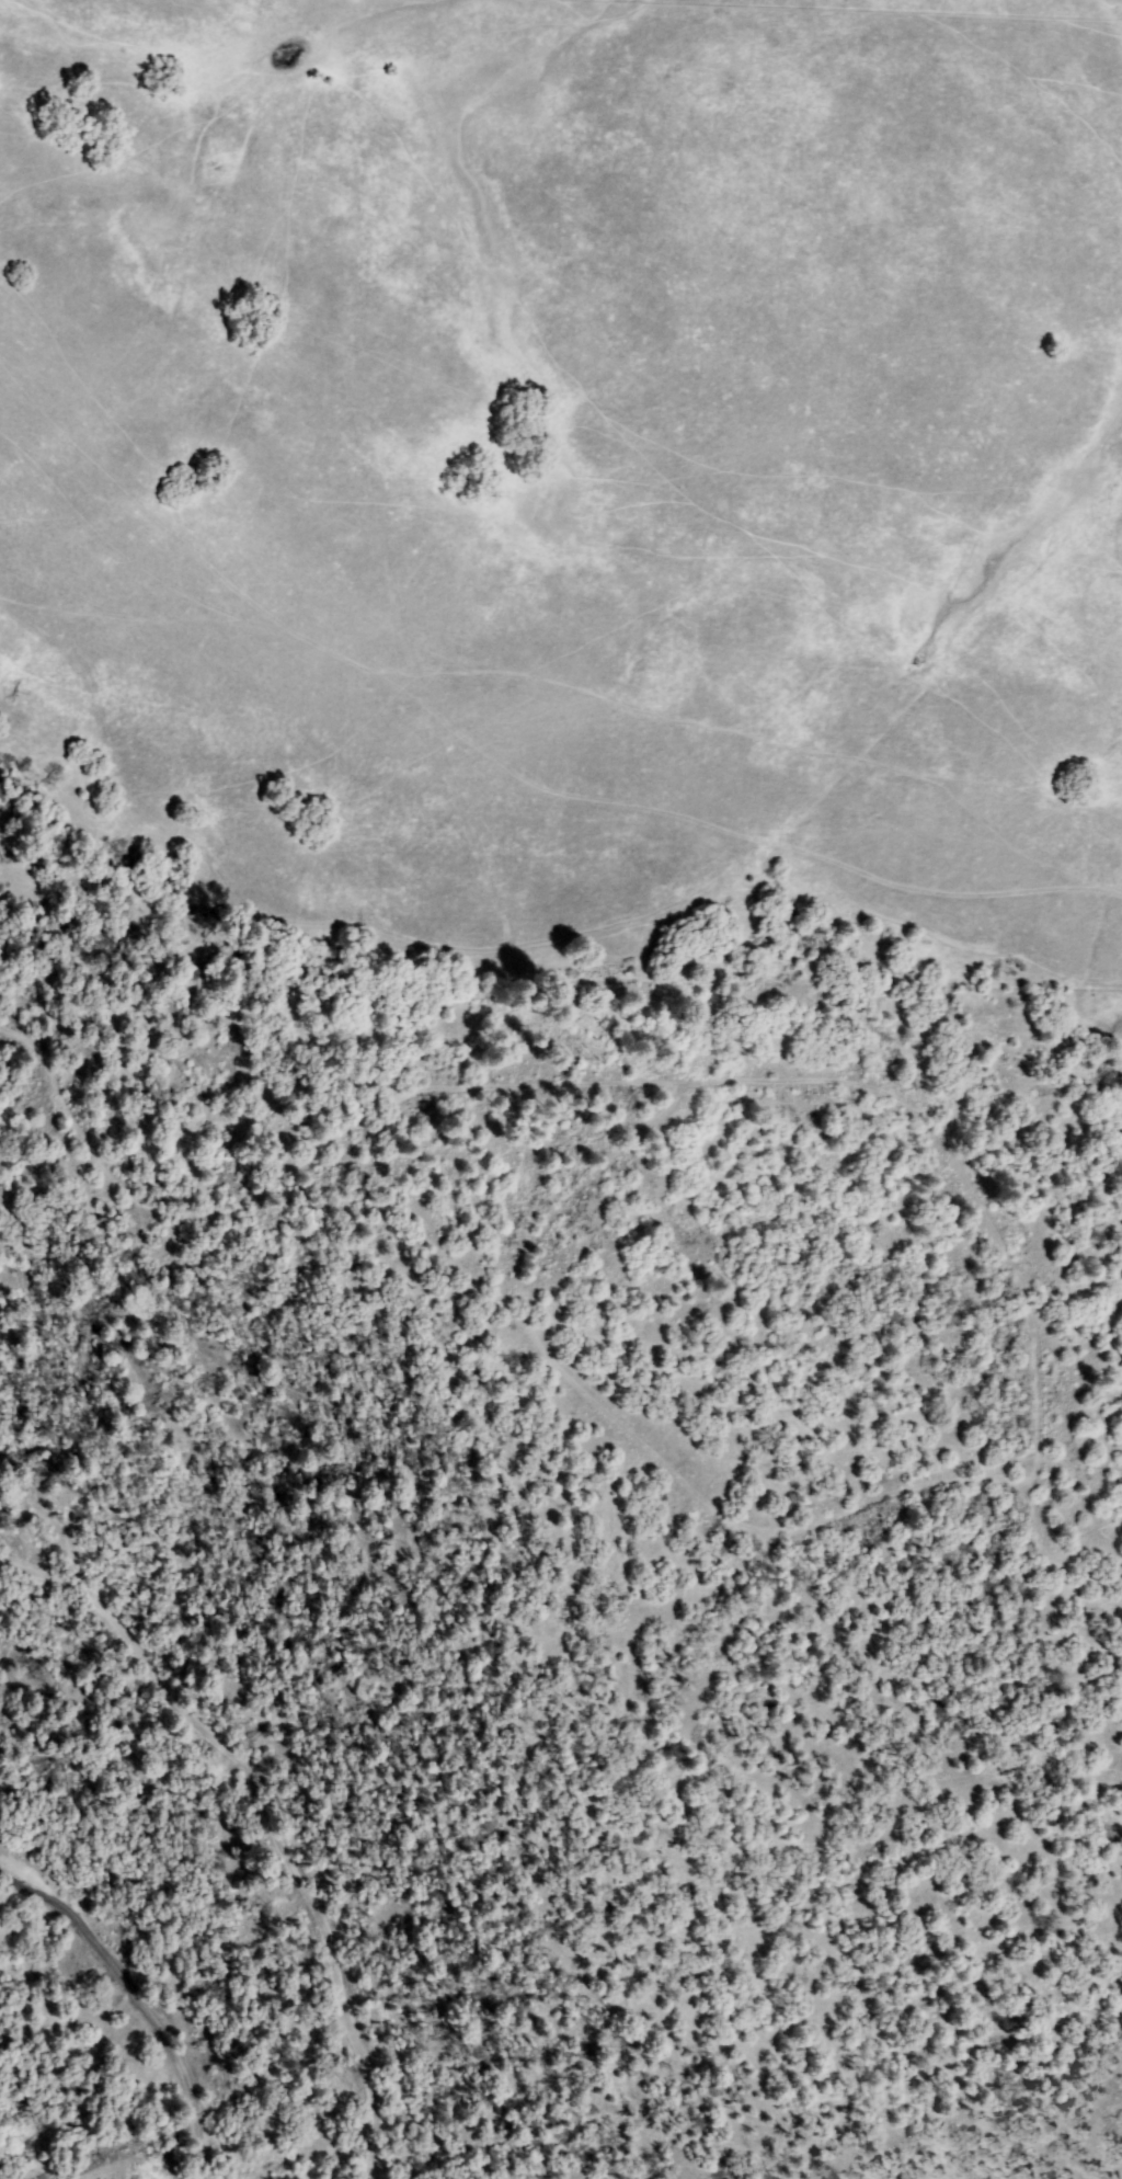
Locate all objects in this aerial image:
road: (513, 783)
road: (675, 1080)
road: (623, 1425)
road: (270, 1816)
road: (142, 1996)

